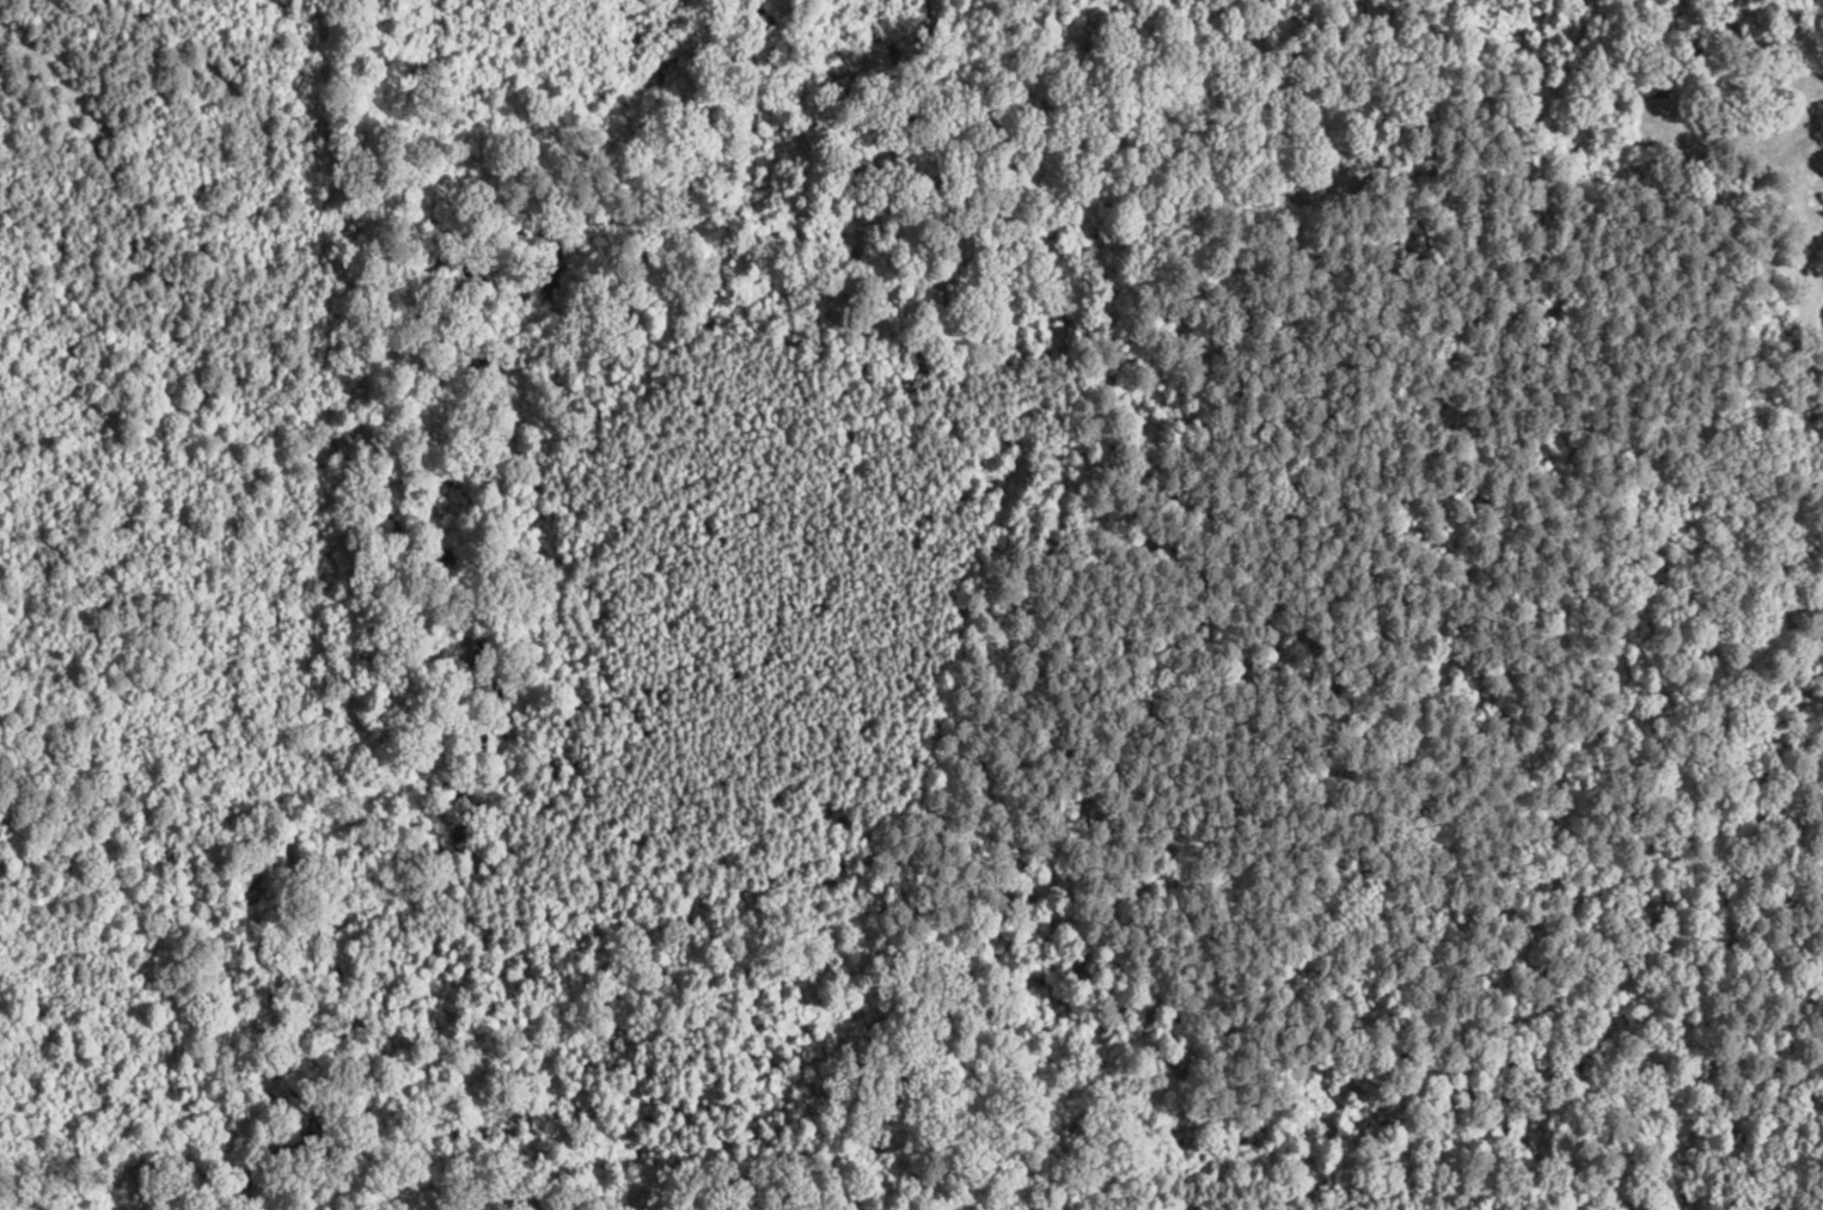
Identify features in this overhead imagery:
building: (1652, 84)

